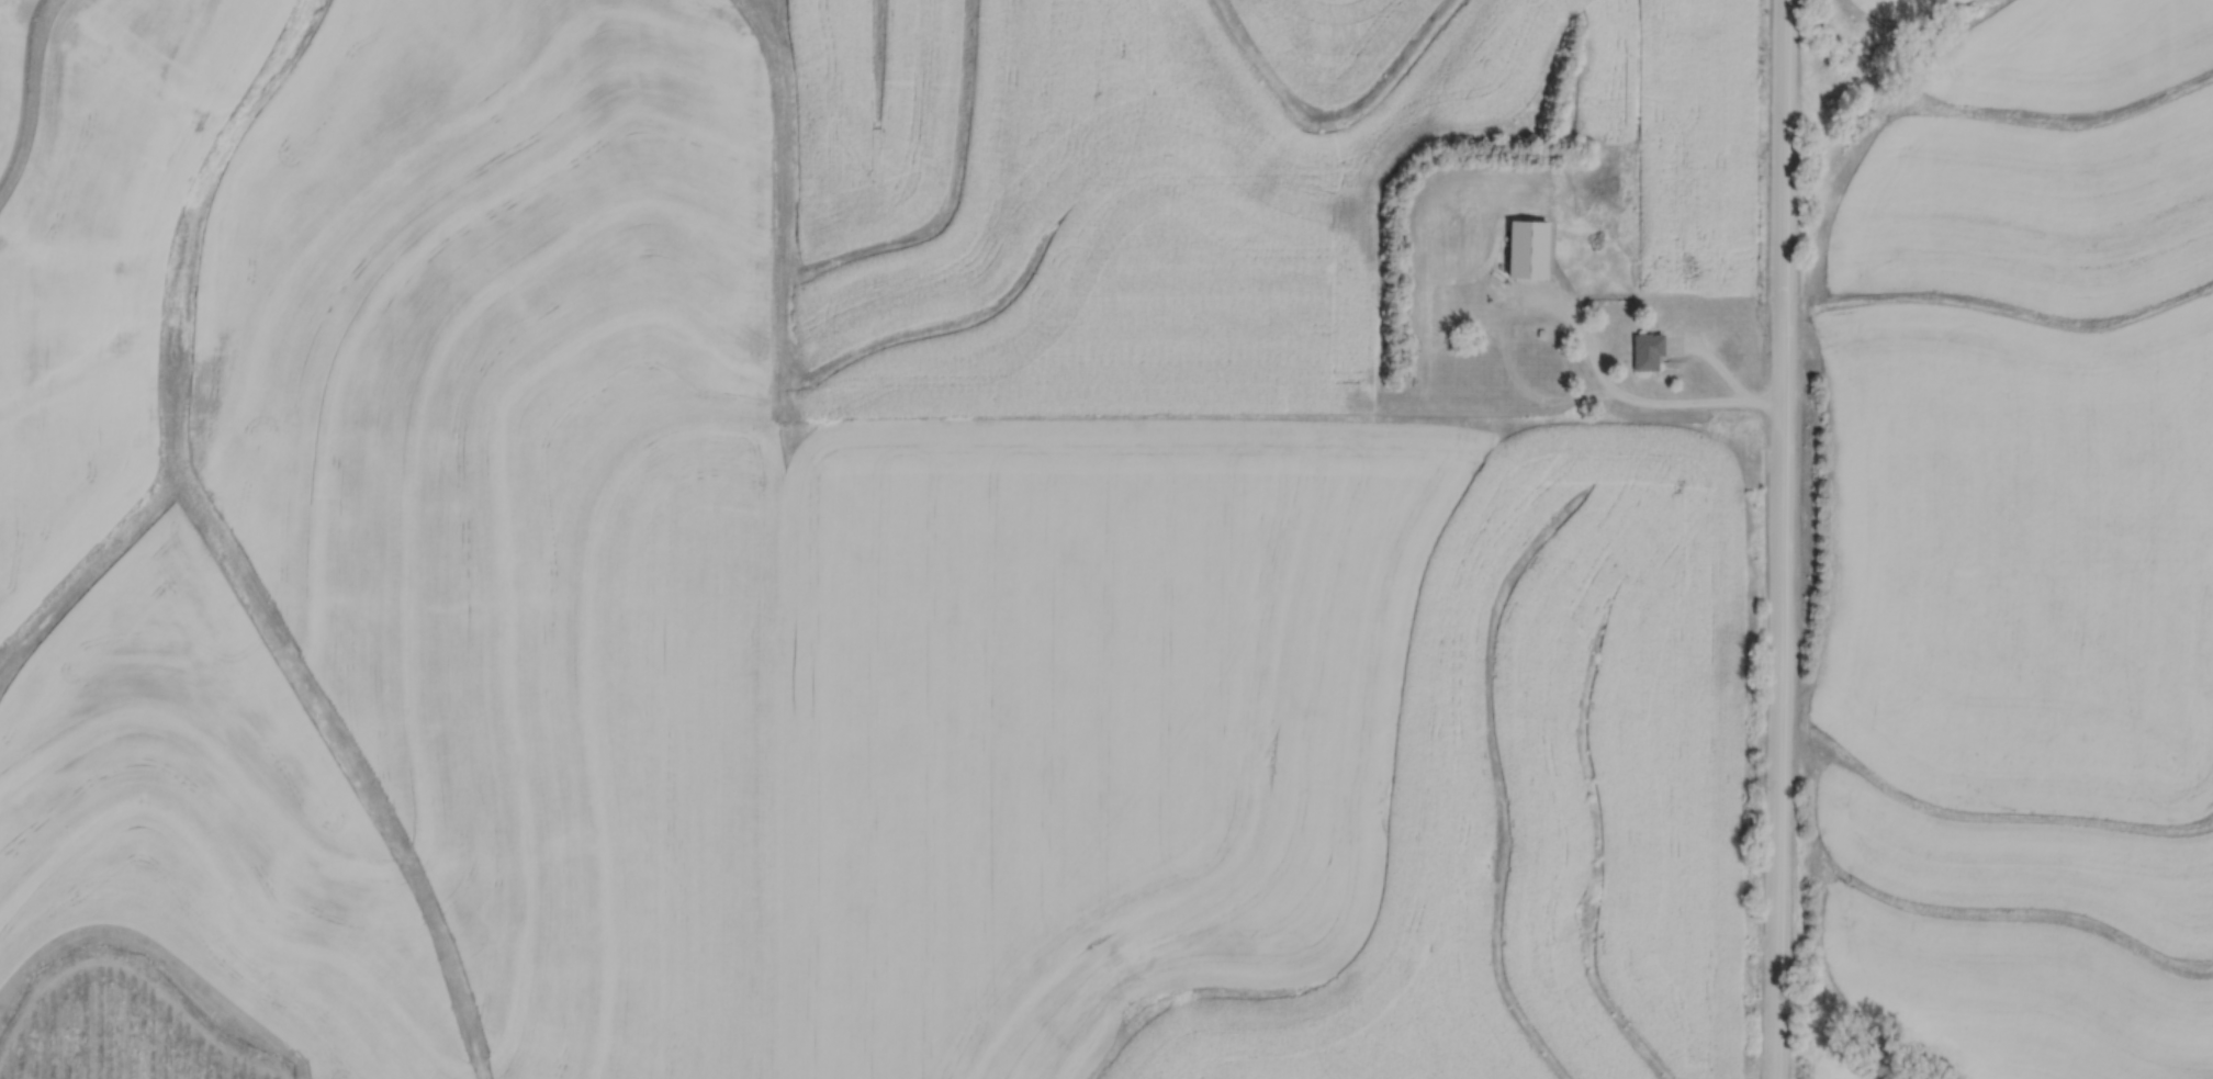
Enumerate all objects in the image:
building: (1539, 249)
building: (1645, 352)
road: (1779, 539)

